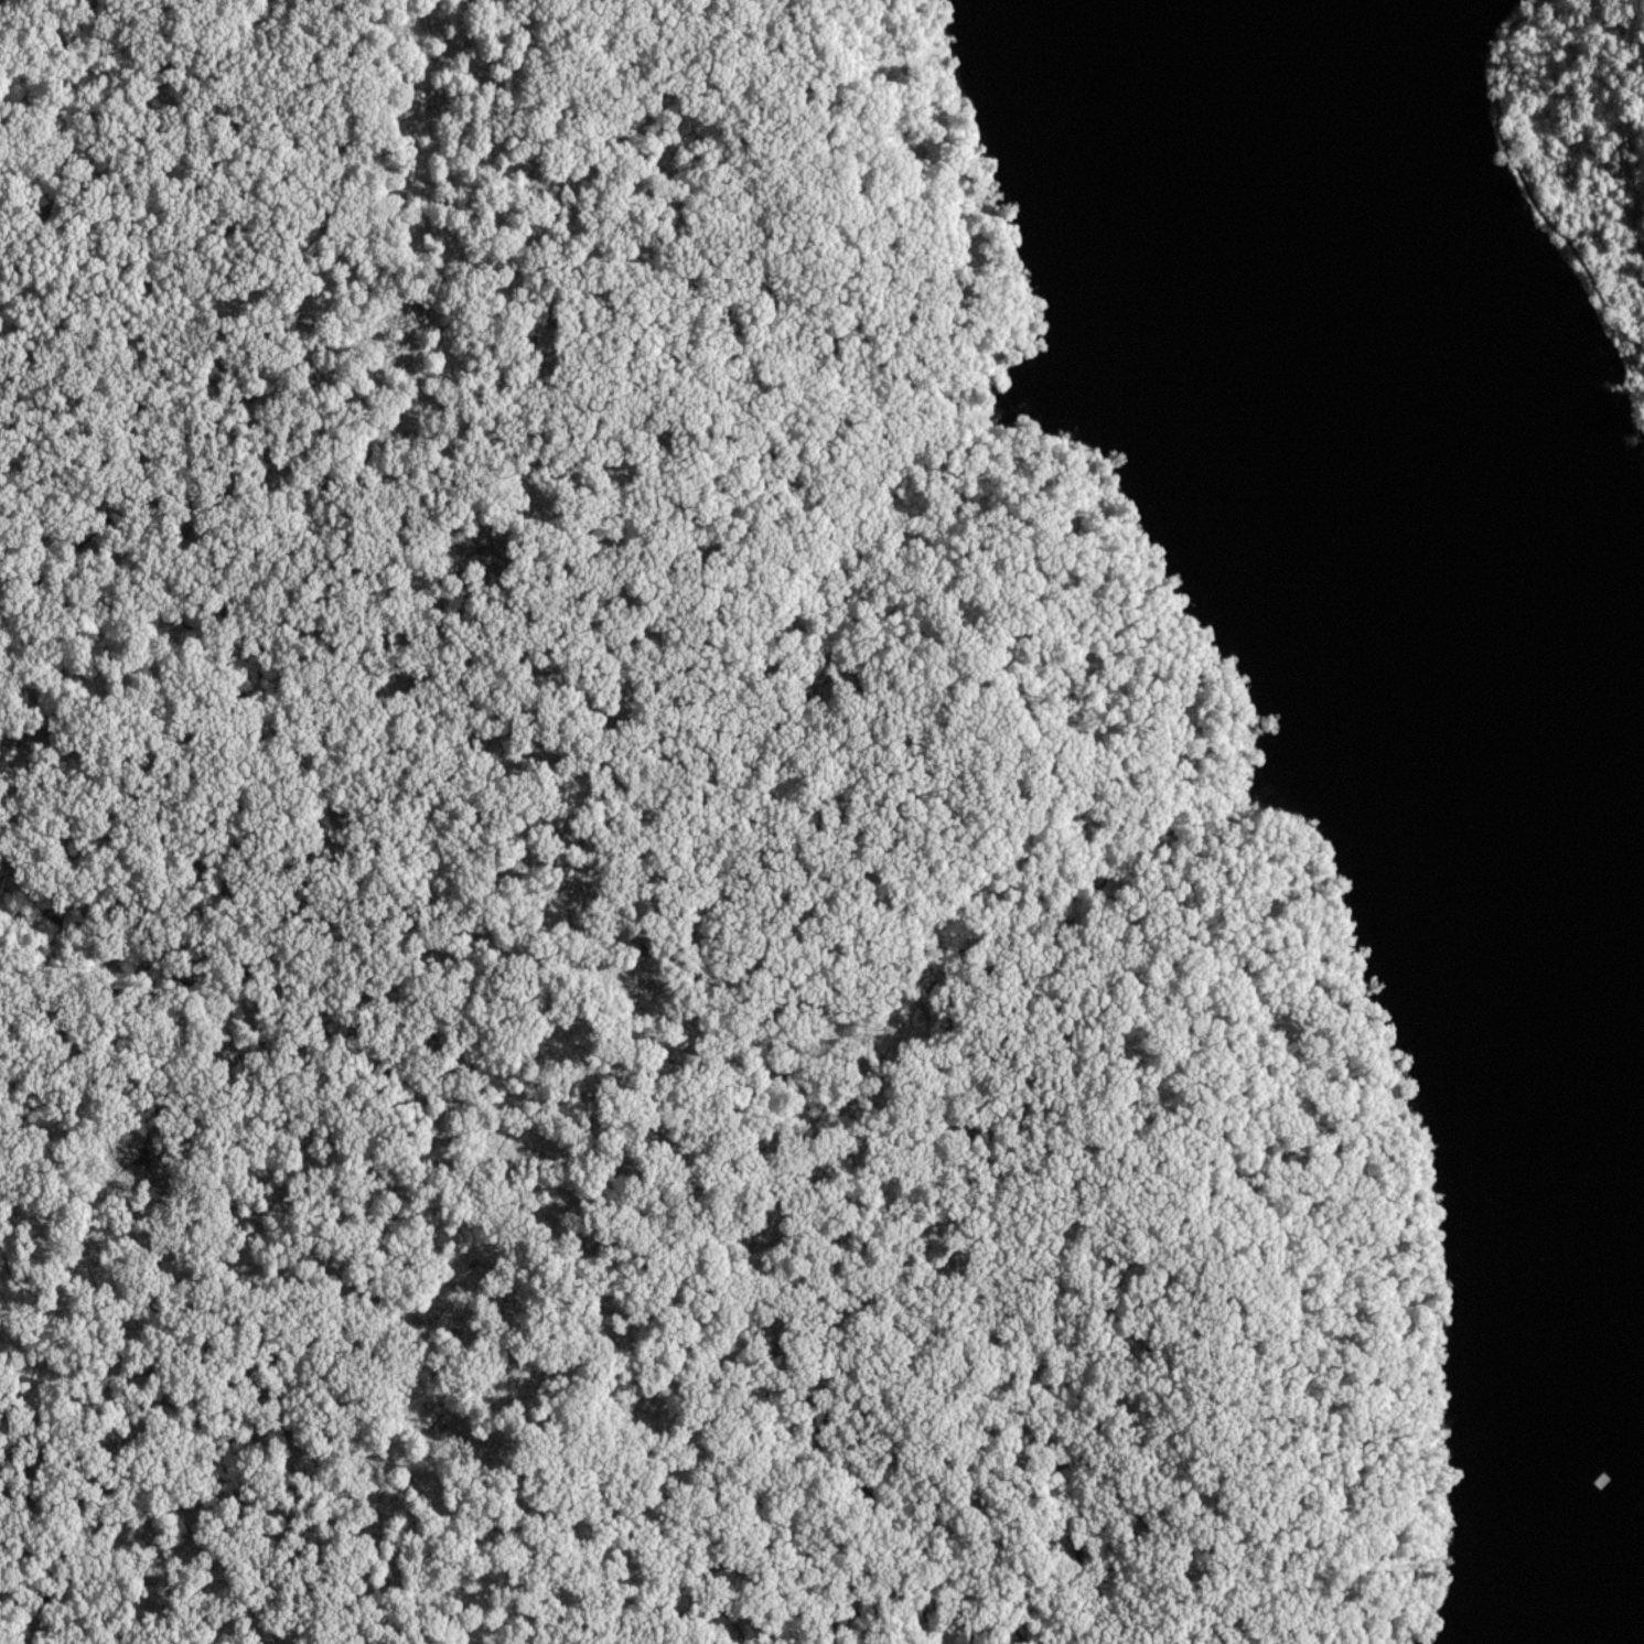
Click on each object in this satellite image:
road: (1528, 182)

